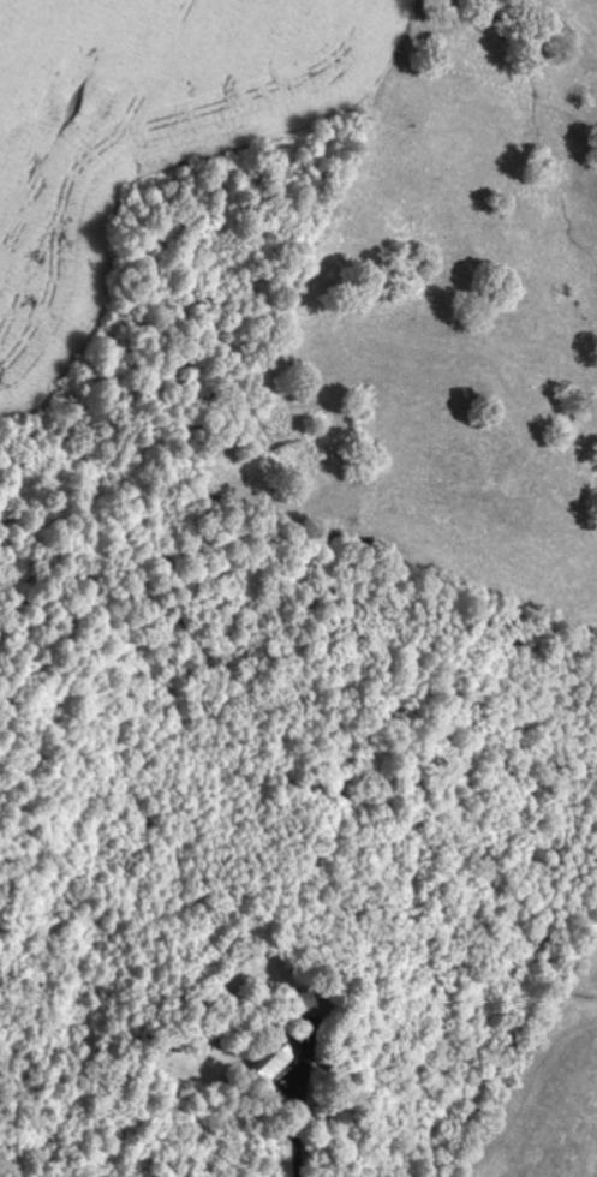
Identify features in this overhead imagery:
building: (281, 1059)

